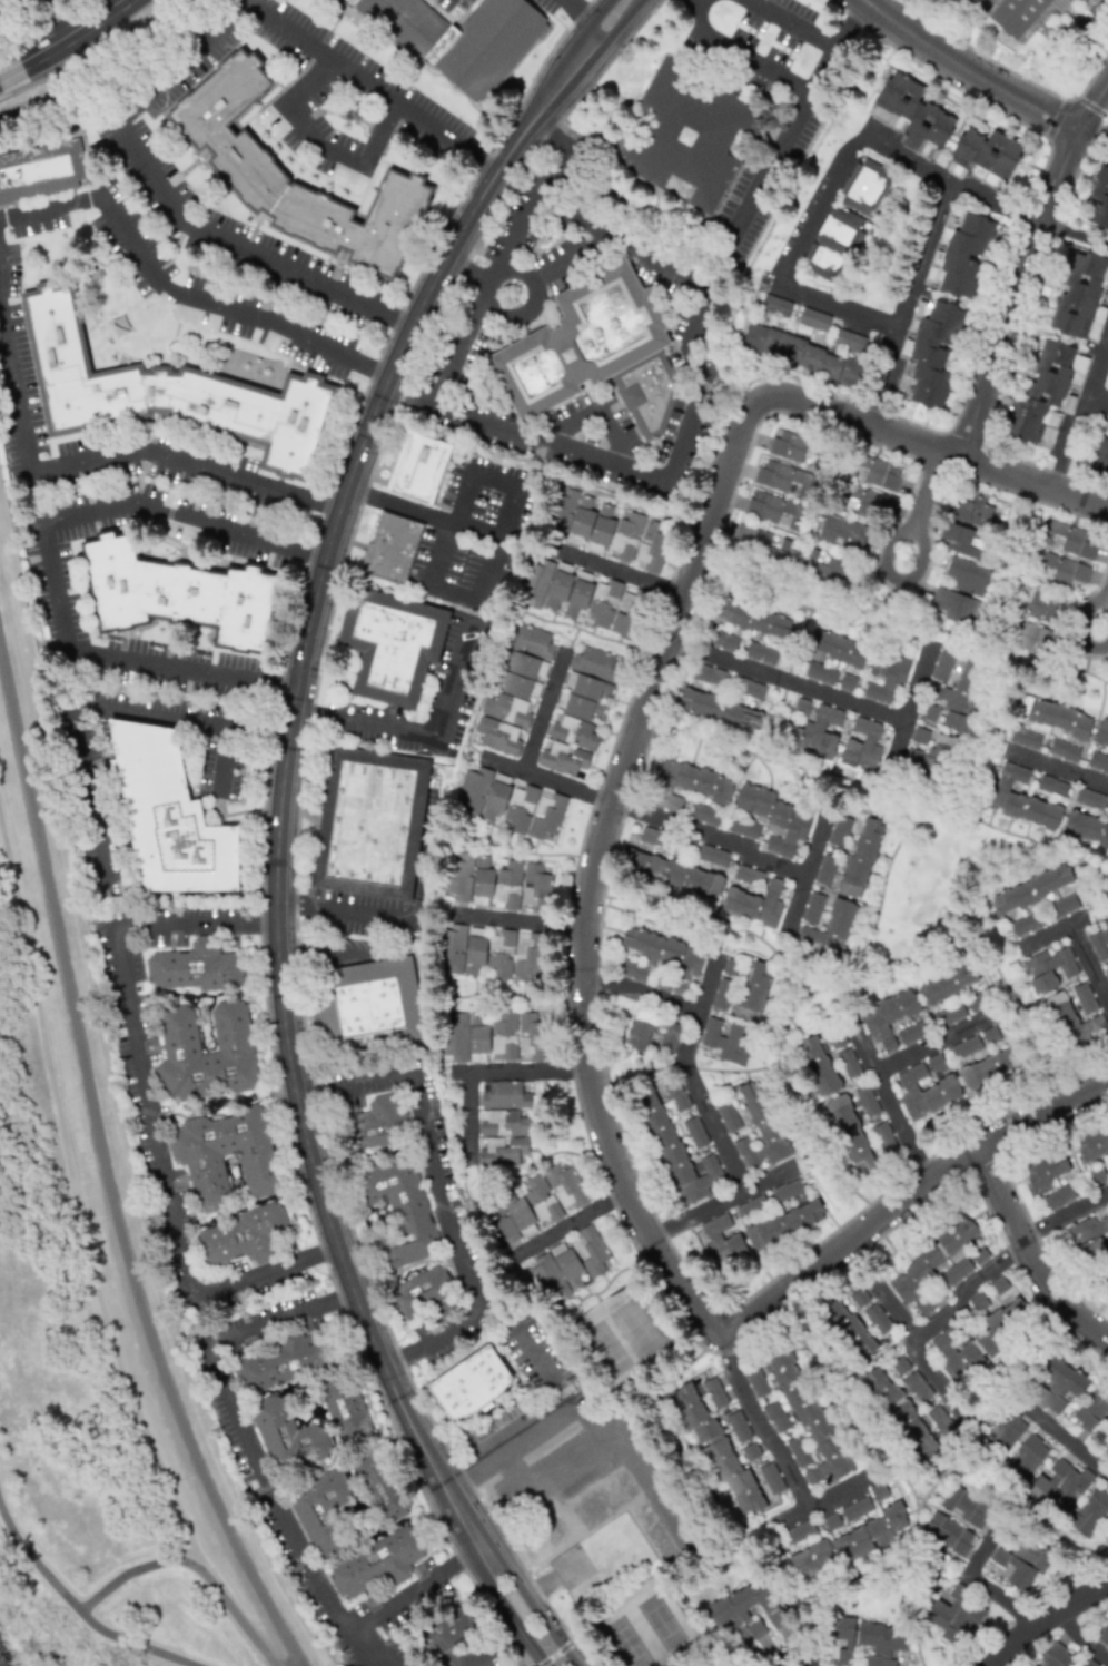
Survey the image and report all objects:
building: (1080, 0)
building: (957, 2)
road: (9, 4)
road: (581, 13)
building: (1017, 16)
road: (693, 18)
road: (793, 20)
building: (457, 39)
road: (71, 47)
road: (753, 65)
road: (185, 66)
road: (967, 70)
road: (305, 80)
road: (378, 82)
road: (4, 95)
road: (797, 112)
building: (912, 112)
road: (380, 128)
road: (1094, 134)
building: (684, 136)
road: (317, 144)
building: (985, 156)
building: (243, 164)
building: (40, 170)
road: (953, 184)
building: (865, 187)
building: (1098, 199)
road: (820, 206)
road: (1075, 234)
road: (621, 240)
road: (247, 245)
building: (832, 245)
building: (959, 255)
road: (570, 257)
road: (1027, 265)
road: (466, 270)
road: (493, 274)
road: (917, 277)
road: (488, 282)
road: (177, 290)
building: (1080, 296)
building: (775, 305)
road: (839, 307)
building: (813, 318)
road: (695, 319)
building: (849, 341)
building: (594, 351)
building: (929, 354)
building: (802, 355)
road: (1100, 369)
building: (165, 390)
building: (1045, 394)
road: (1100, 400)
road: (571, 421)
road: (615, 437)
road: (1068, 440)
building: (791, 445)
building: (1100, 450)
road: (575, 451)
road: (100, 457)
building: (419, 466)
building: (875, 472)
road: (495, 477)
building: (782, 477)
building: (859, 500)
road: (922, 505)
building: (772, 509)
road: (185, 511)
building: (971, 511)
road: (448, 523)
building: (609, 530)
building: (841, 531)
building: (1069, 539)
building: (756, 540)
building: (961, 541)
building: (390, 548)
road: (441, 553)
building: (823, 565)
road: (620, 569)
building: (1060, 569)
road: (492, 573)
building: (967, 576)
building: (178, 592)
building: (581, 597)
building: (1037, 604)
building: (953, 605)
road: (1104, 617)
building: (754, 618)
building: (724, 639)
building: (1033, 639)
building: (390, 644)
building: (837, 647)
building: (761, 652)
road: (122, 655)
building: (943, 666)
building: (820, 672)
building: (709, 674)
building: (886, 676)
road: (787, 680)
building: (847, 681)
building: (748, 687)
building: (515, 690)
building: (954, 698)
road: (95, 703)
building: (719, 709)
building: (581, 710)
road: (541, 712)
building: (1055, 718)
road: (903, 727)
building: (812, 728)
road: (415, 729)
road: (257, 731)
building: (1101, 733)
building: (919, 736)
building: (1025, 738)
building: (862, 743)
building: (1064, 749)
building: (930, 758)
building: (1098, 761)
road: (1056, 766)
road: (543, 779)
building: (686, 782)
building: (1051, 785)
building: (1020, 798)
building: (1089, 798)
building: (510, 804)
building: (704, 814)
building: (168, 815)
building: (774, 817)
road: (278, 819)
building: (368, 822)
building: (742, 827)
building: (1086, 829)
building: (839, 830)
building: (651, 836)
road: (710, 837)
building: (712, 855)
building: (861, 857)
building: (824, 869)
building: (745, 874)
road: (803, 885)
building: (1031, 888)
building: (754, 903)
building: (1062, 905)
building: (813, 908)
road: (344, 911)
road: (518, 920)
road: (585, 921)
building: (1025, 924)
road: (1051, 928)
building: (829, 930)
building: (1099, 940)
building: (503, 954)
building: (663, 956)
road: (1087, 962)
building: (194, 966)
building: (730, 967)
building: (1047, 968)
building: (632, 969)
building: (1107, 972)
building: (951, 979)
building: (753, 990)
building: (722, 994)
building: (1084, 997)
road: (664, 999)
building: (372, 1000)
building: (949, 1014)
building: (887, 1017)
building: (1075, 1024)
building: (641, 1027)
building: (912, 1032)
building: (496, 1036)
building: (669, 1037)
road: (687, 1037)
building: (726, 1039)
road: (933, 1041)
building: (205, 1052)
building: (849, 1064)
building: (989, 1067)
road: (486, 1071)
building: (926, 1091)
building: (503, 1094)
building: (676, 1096)
building: (867, 1101)
road: (890, 1101)
road: (147, 1110)
building: (728, 1115)
building: (377, 1121)
building: (505, 1121)
road: (713, 1128)
building: (760, 1131)
building: (695, 1132)
building: (849, 1134)
building: (882, 1135)
building: (1095, 1144)
building: (675, 1150)
building: (503, 1152)
building: (196, 1160)
road: (106, 1170)
building: (1045, 1172)
road: (439, 1189)
building: (1058, 1196)
building: (535, 1199)
road: (722, 1202)
road: (76, 1210)
building: (398, 1210)
building: (787, 1220)
road: (571, 1223)
building: (244, 1235)
building: (1088, 1235)
building: (722, 1242)
road: (1029, 1255)
building: (931, 1264)
building: (568, 1265)
building: (956, 1271)
road: (980, 1282)
building: (998, 1284)
building: (422, 1294)
building: (859, 1297)
building: (978, 1302)
building: (877, 1319)
building: (847, 1328)
park: (622, 1335)
building: (977, 1339)
building: (280, 1361)
road: (541, 1370)
road: (938, 1374)
building: (468, 1380)
building: (755, 1381)
building: (1059, 1386)
building: (918, 1387)
building: (714, 1392)
building: (343, 1407)
building: (1091, 1408)
building: (898, 1412)
building: (775, 1416)
building: (940, 1420)
building: (738, 1427)
building: (1002, 1428)
building: (285, 1435)
road: (248, 1439)
road: (507, 1443)
building: (716, 1445)
road: (1070, 1446)
building: (750, 1450)
road: (781, 1455)
building: (1028, 1455)
road: (568, 1480)
building: (377, 1486)
building: (1059, 1487)
building: (964, 1506)
building: (320, 1510)
building: (1090, 1511)
building: (799, 1531)
building: (947, 1532)
building: (855, 1536)
building: (1022, 1560)
building: (375, 1561)
road: (190, 1568)
road: (978, 1578)
road: (414, 1595)
road: (1037, 1610)
road: (78, 1611)
building: (726, 1614)
building: (954, 1616)
road: (214, 1625)
park: (646, 1625)
building: (448, 1628)
road: (1077, 1633)
building: (1104, 1634)
building: (842, 1637)
building: (881, 1642)
building: (1053, 1656)
road: (468, 1658)
road: (537, 1659)
road: (568, 1660)
road: (556, 1663)
building: (722, 1663)
building: (1085, 1663)

